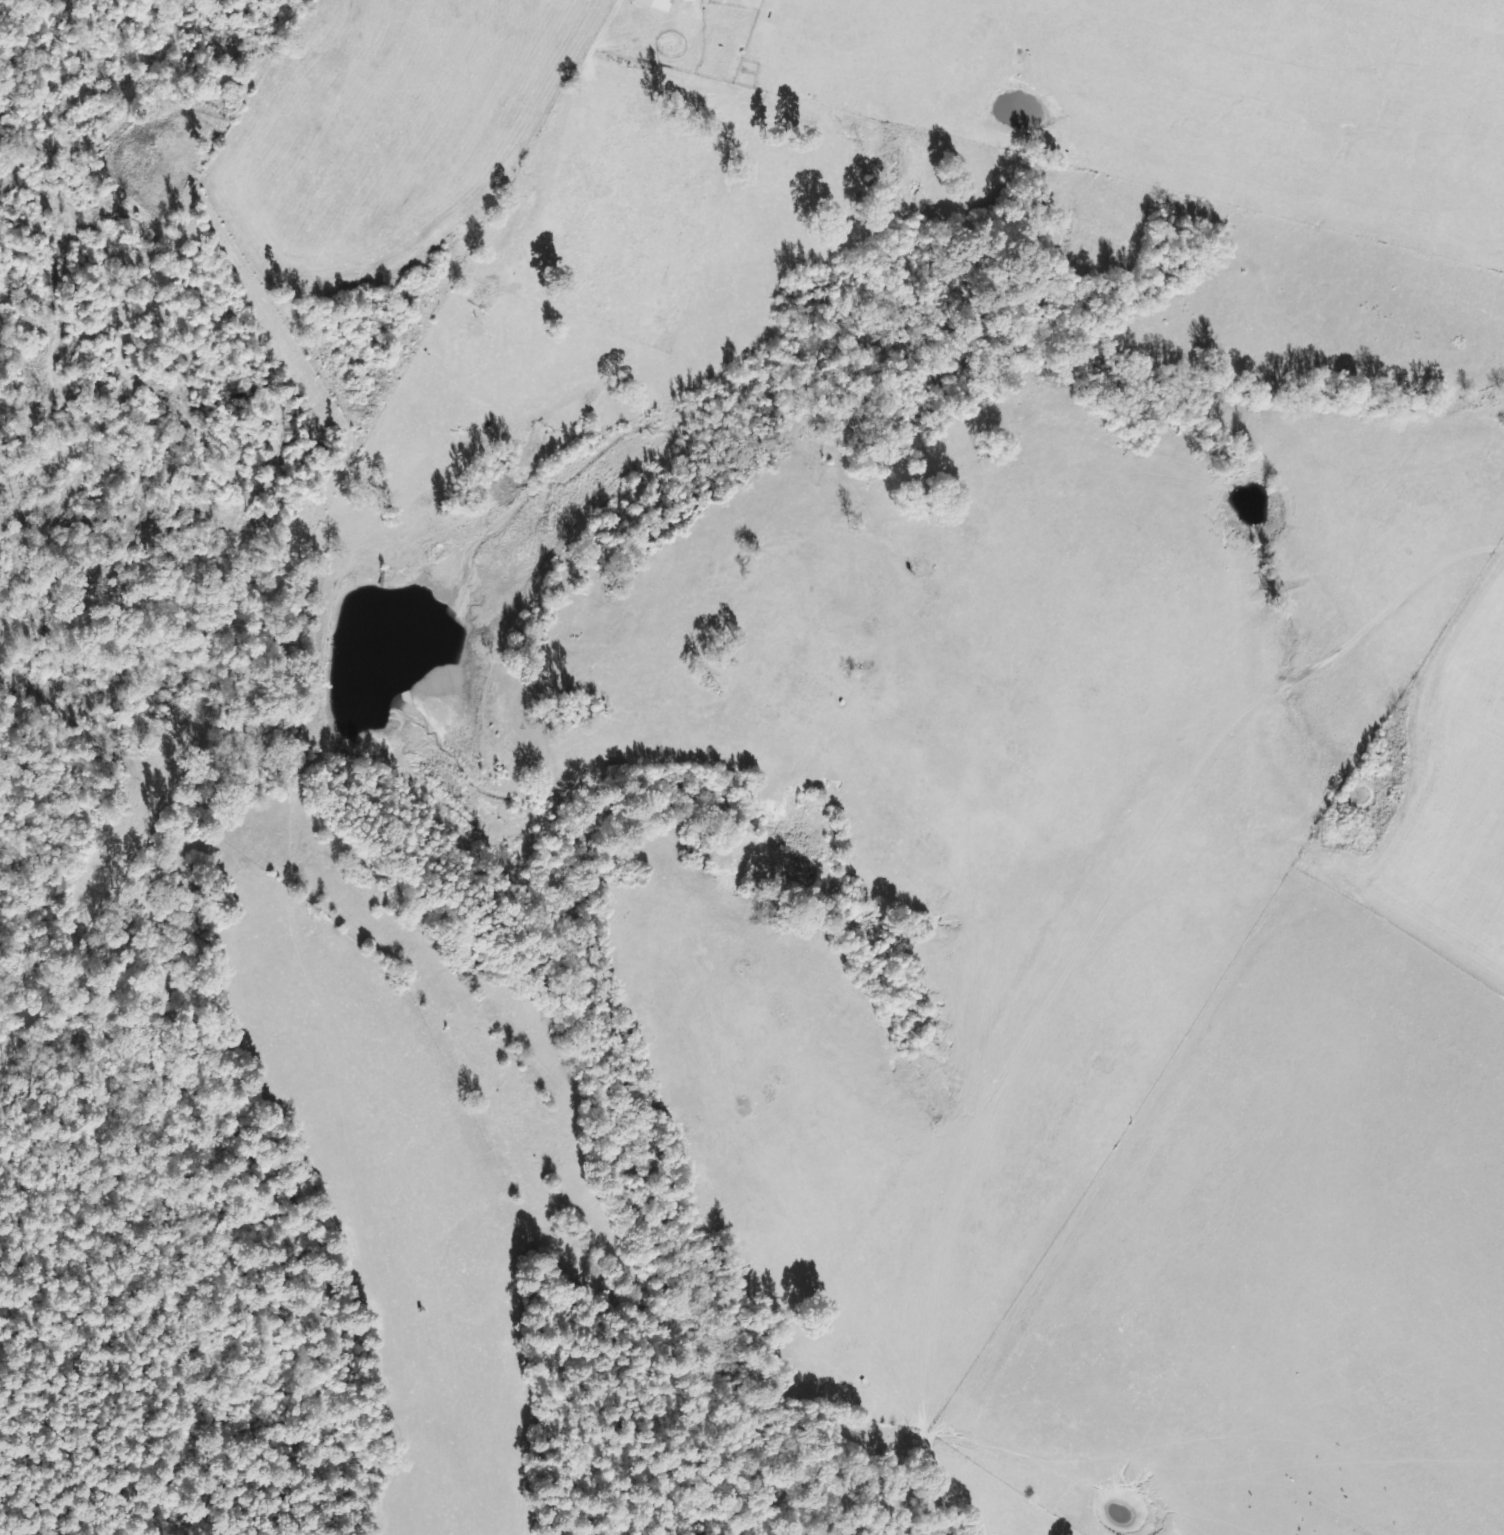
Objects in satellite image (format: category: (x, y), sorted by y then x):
building: (654, 5)
road: (1013, 1022)

